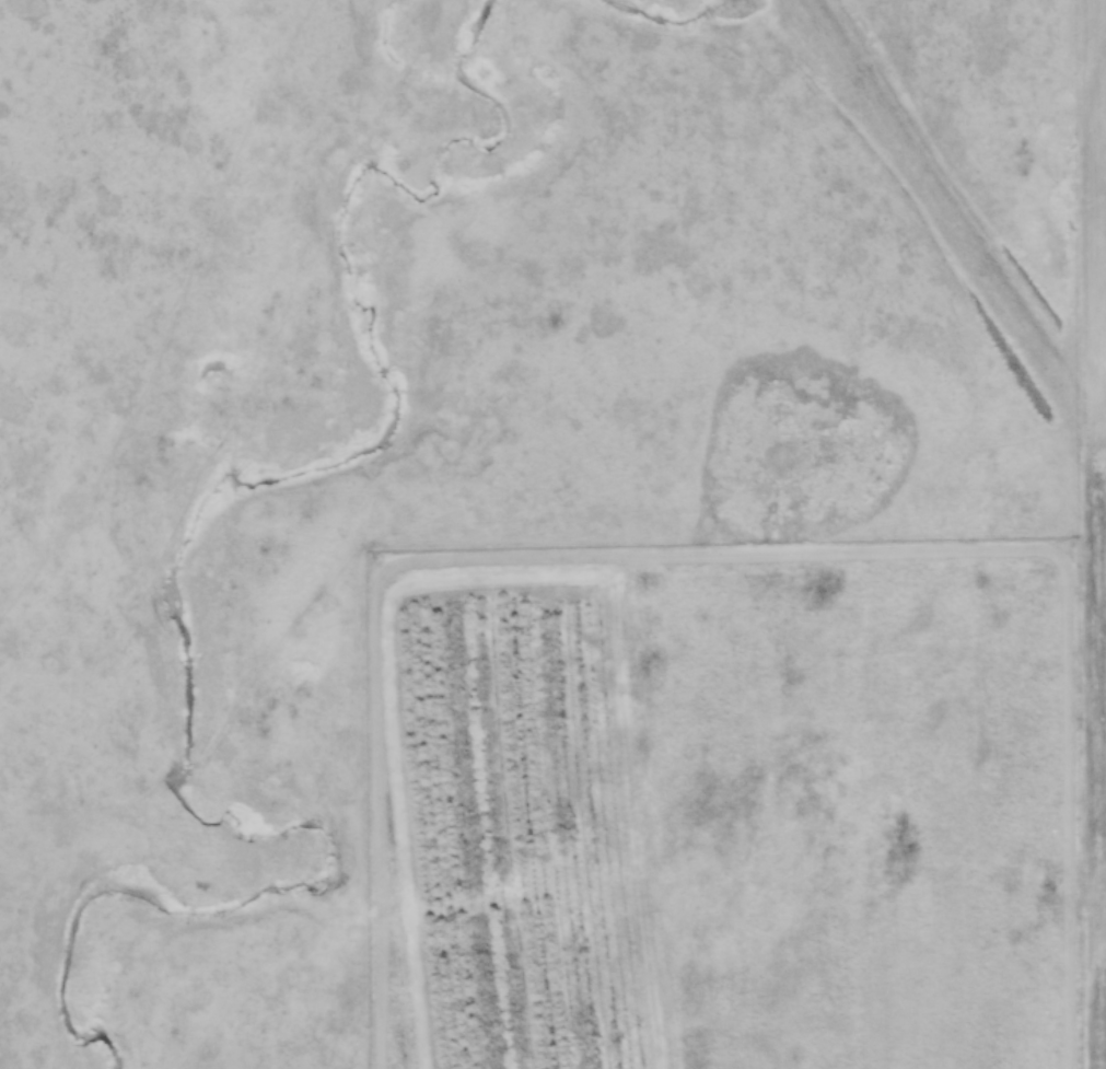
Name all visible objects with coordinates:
crop: (1093, 417)

